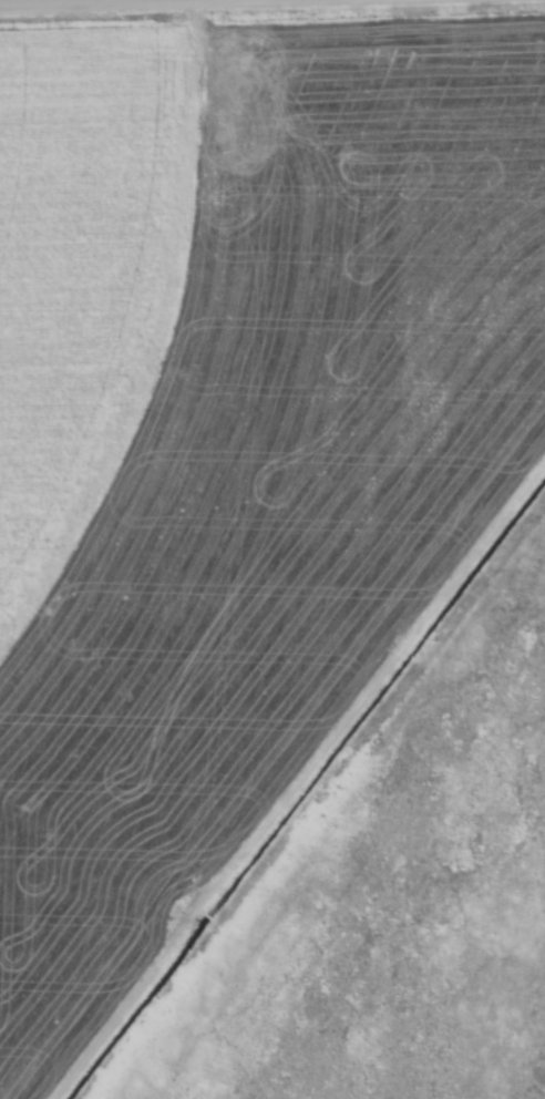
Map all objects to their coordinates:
road: (73, 2)

